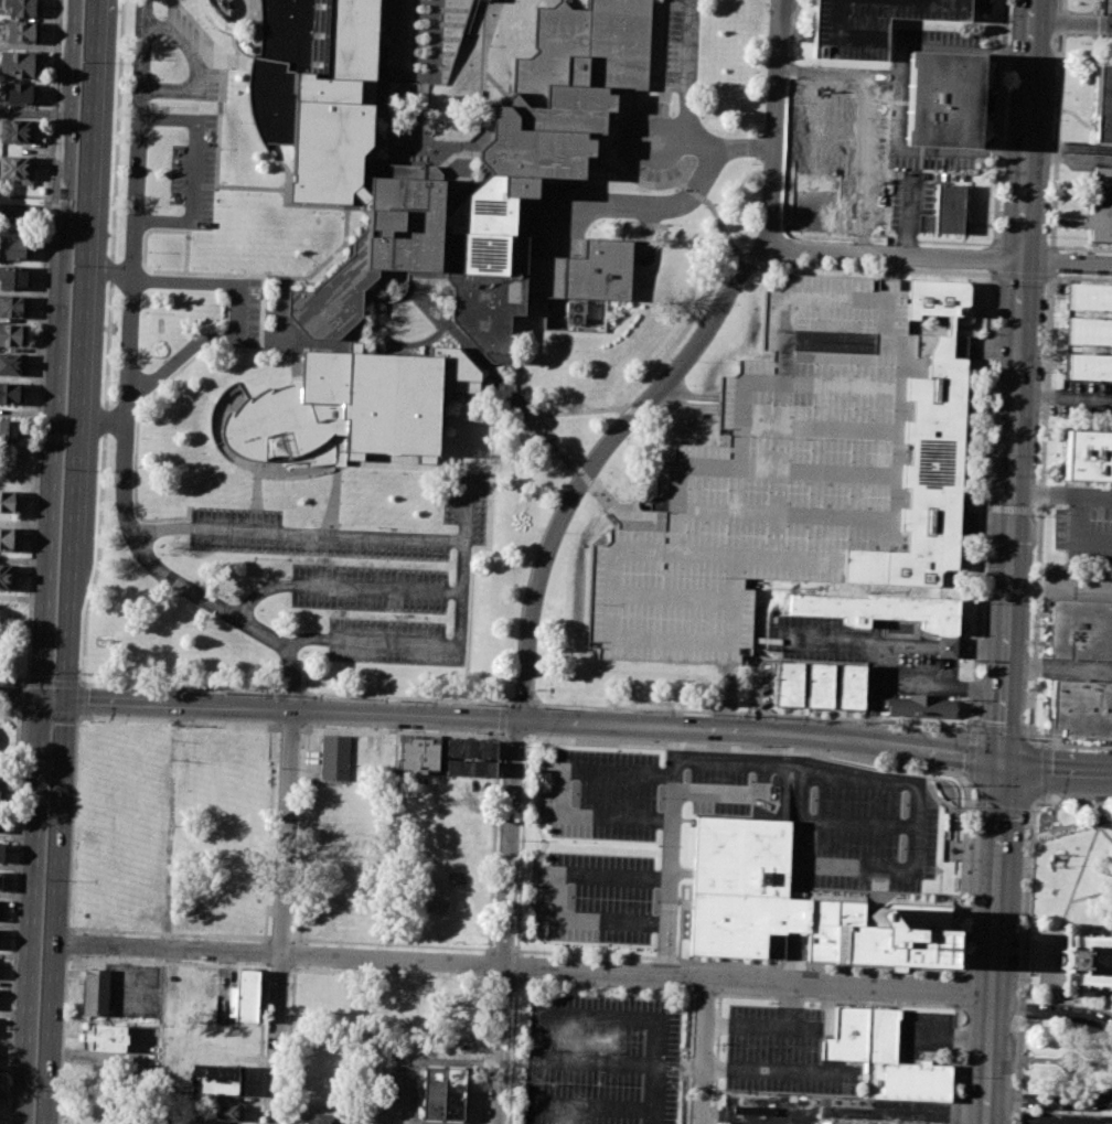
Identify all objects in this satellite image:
street lamp: (504, 0)
road: (548, 3)
road: (484, 7)
building: (24, 8)
building: (872, 23)
parking garage: (872, 23)
building: (1106, 26)
parking garage: (1106, 26)
road: (485, 28)
building: (22, 33)
building: (431, 41)
street lamp: (490, 44)
parking lot: (681, 46)
road: (949, 46)
building: (585, 47)
road: (483, 52)
parking lot: (192, 56)
street lamp: (79, 61)
building: (19, 65)
road: (197, 67)
road: (236, 67)
road: (655, 77)
road: (687, 85)
road: (654, 87)
building: (19, 94)
building: (316, 94)
road: (632, 98)
building: (940, 98)
road: (52, 100)
street lamp: (787, 101)
building: (1103, 104)
street lamp: (165, 105)
road: (481, 109)
road: (628, 113)
road: (895, 119)
road: (218, 121)
road: (777, 121)
road: (998, 121)
building: (17, 130)
building: (546, 132)
parking lot: (650, 143)
road: (1069, 146)
road: (641, 149)
road: (603, 150)
road: (1056, 153)
parking lot: (837, 158)
road: (1069, 158)
building: (838, 159)
road: (278, 163)
street lamp: (165, 168)
street lamp: (619, 168)
building: (15, 169)
road: (611, 170)
parking lot: (194, 171)
road: (197, 171)
road: (677, 183)
road: (692, 193)
road: (23, 194)
building: (1101, 204)
road: (666, 206)
building: (14, 211)
street lamp: (781, 211)
building: (945, 212)
road: (31, 213)
road: (46, 213)
parking lot: (563, 216)
road: (783, 218)
road: (720, 227)
road: (23, 231)
road: (784, 234)
road: (645, 236)
street lamp: (796, 238)
street lamp: (890, 244)
road: (776, 247)
street lamp: (981, 247)
building: (13, 248)
building: (375, 248)
road: (142, 249)
street lamp: (148, 249)
road: (891, 256)
road: (993, 257)
road: (750, 259)
road: (1050, 261)
road: (770, 263)
road: (1067, 263)
street lamp: (71, 265)
street lamp: (192, 268)
road: (875, 268)
building: (524, 269)
street lamp: (229, 270)
street lamp: (758, 270)
street lamp: (266, 271)
road: (107, 272)
road: (992, 272)
road: (1020, 276)
road: (269, 277)
building: (13, 278)
road: (1080, 278)
flagpole: (276, 282)
road: (209, 283)
street lamp: (265, 291)
road: (379, 293)
building: (1089, 297)
road: (421, 301)
building: (12, 307)
road: (385, 308)
street lamp: (145, 311)
parking lot: (243, 311)
street lamp: (264, 315)
road: (280, 315)
road: (381, 327)
building: (1088, 331)
street lamp: (263, 332)
building: (12, 335)
road: (107, 342)
road: (276, 345)
building: (959, 346)
street lamp: (263, 349)
road: (56, 350)
road: (78, 350)
street lamp: (276, 350)
street lamp: (289, 350)
street lamp: (142, 355)
street lamp: (242, 355)
road: (175, 358)
street lamp: (699, 361)
building: (12, 364)
building: (1088, 366)
road: (491, 377)
road: (135, 378)
road: (1015, 381)
road: (151, 392)
building: (11, 394)
road: (128, 395)
building: (385, 395)
road: (685, 397)
parking lot: (1087, 397)
road: (1062, 400)
road: (637, 409)
road: (683, 409)
road: (575, 411)
street lamp: (140, 419)
road: (101, 421)
building: (270, 424)
road: (492, 425)
street lamp: (523, 425)
street lamp: (489, 426)
building: (7, 431)
street lamp: (625, 441)
street lamp: (544, 448)
road: (269, 450)
road: (35, 456)
building: (927, 456)
building: (1088, 456)
road: (597, 460)
street lamp: (488, 462)
street lamp: (138, 464)
street lamp: (62, 469)
street lamp: (565, 471)
street lamp: (250, 478)
building: (770, 478)
parking garage: (770, 478)
street lamp: (341, 481)
road: (1061, 491)
street lamp: (248, 497)
road: (983, 500)
building: (8, 502)
street lamp: (340, 502)
road: (466, 504)
road: (1041, 505)
road: (986, 507)
road: (1008, 507)
road: (1035, 510)
parking lot: (1082, 518)
street lamp: (339, 523)
road: (325, 524)
street lamp: (377, 526)
road: (1080, 531)
street lamp: (566, 534)
building: (9, 538)
road: (438, 538)
street lamp: (160, 554)
street lamp: (253, 558)
parking lot: (370, 575)
building: (7, 577)
building: (948, 581)
parking lot: (1081, 584)
road: (341, 586)
road: (1058, 590)
street lamp: (224, 597)
building: (889, 613)
street lamp: (394, 615)
road: (469, 618)
building: (1080, 629)
street lamp: (539, 639)
road: (899, 646)
parking lot: (1079, 670)
road: (1056, 671)
street lamp: (53, 673)
street lamp: (87, 673)
road: (13, 678)
street lamp: (20, 682)
road: (52, 682)
road: (81, 683)
building: (788, 683)
building: (817, 685)
road: (911, 685)
building: (849, 686)
street lamp: (180, 689)
street lamp: (275, 694)
road: (308, 694)
road: (20, 696)
street lamp: (345, 697)
road: (20, 698)
traffic signals: (41, 699)
road: (52, 699)
traffic signals: (64, 700)
road: (502, 703)
street lamp: (478, 704)
street lamp: (543, 706)
building: (920, 706)
building: (1082, 708)
road: (290, 709)
road: (307, 709)
road: (18, 710)
street lamp: (637, 710)
road: (720, 710)
road: (9, 713)
road: (49, 714)
street lamp: (709, 714)
street lamp: (772, 717)
road: (501, 718)
street lamp: (15, 719)
street lamp: (89, 720)
road: (178, 721)
street lamp: (862, 721)
road: (289, 727)
street lamp: (959, 730)
road: (995, 730)
road: (400, 731)
road: (757, 732)
street lamp: (1028, 735)
road: (512, 736)
road: (1063, 745)
road: (1045, 746)
road: (747, 747)
building: (470, 749)
street lamp: (616, 749)
street lamp: (1093, 749)
street lamp: (523, 750)
road: (971, 752)
building: (417, 753)
building: (333, 757)
traffic signals: (996, 762)
building: (469, 768)
street lamp: (278, 770)
road: (835, 770)
road: (1044, 770)
road: (1052, 775)
street lamp: (749, 779)
flagpole: (930, 785)
building: (1, 789)
parking lot: (644, 790)
road: (563, 791)
street lamp: (575, 793)
street lamp: (659, 796)
flagpole: (937, 796)
street lamp: (812, 799)
road: (1077, 802)
street lamp: (1090, 802)
street lamp: (905, 803)
street lamp: (1035, 803)
flagpole: (948, 805)
road: (972, 806)
road: (1001, 810)
road: (1029, 813)
road: (1035, 813)
building: (1, 817)
road: (170, 826)
parking lot: (858, 827)
road: (300, 833)
road: (1104, 833)
road: (1022, 838)
street lamp: (570, 841)
road: (493, 842)
street lamp: (521, 842)
street lamp: (810, 843)
building: (343, 844)
street lamp: (656, 845)
street lamp: (901, 847)
building: (1, 852)
flagpole: (1060, 864)
street lamp: (296, 875)
road: (963, 877)
street lamp: (44, 879)
building: (0, 880)
road: (553, 893)
road: (1091, 895)
street lamp: (568, 896)
parking lot: (594, 897)
road: (1069, 900)
street lamp: (655, 901)
building: (0, 906)
building: (794, 906)
road: (31, 911)
road: (55, 911)
street lamp: (517, 912)
road: (15, 916)
road: (281, 917)
road: (505, 921)
road: (67, 923)
road: (1040, 931)
road: (1026, 934)
road: (1035, 935)
road: (279, 938)
road: (1023, 938)
road: (392, 943)
street lamp: (607, 943)
road: (988, 943)
road: (502, 949)
road: (295, 954)
street lamp: (74, 955)
road: (1035, 956)
road: (84, 957)
road: (1048, 959)
building: (1086, 960)
street lamp: (203, 961)
road: (488, 962)
road: (735, 962)
road: (279, 966)
road: (521, 966)
street lamp: (329, 967)
road: (1061, 968)
road: (391, 973)
street lamp: (453, 973)
road: (1038, 973)
road: (1024, 980)
road: (1033, 980)
road: (503, 981)
street lamp: (562, 984)
street lamp: (268, 985)
road: (603, 987)
street lamp: (687, 991)
road: (958, 991)
building: (95, 992)
road: (705, 992)
road: (1054, 993)
street lamp: (512, 994)
building: (244, 995)
building: (307, 997)
street lamp: (815, 997)
road: (836, 999)
road: (789, 1003)
street lamp: (942, 1003)
road: (1083, 1004)
road: (1050, 1011)
road: (594, 1016)
road: (760, 1025)
building: (881, 1035)
building: (847, 1036)
parking lot: (924, 1037)
building: (106, 1038)
road: (290, 1043)
road: (483, 1048)
building: (451, 1049)
road: (704, 1050)
road: (512, 1053)
parking lot: (784, 1053)
road: (1061, 1057)
road: (687, 1058)
parking lot: (602, 1059)
road: (1023, 1059)
road: (1047, 1060)
road: (1095, 1061)
road: (414, 1062)
road: (601, 1062)
road: (954, 1064)
road: (779, 1072)
building: (216, 1080)
building: (907, 1081)
street lamp: (34, 1090)
parking lot: (404, 1090)
building: (442, 1094)
road: (1048, 1101)
road: (594, 1107)
parking lot: (771, 1110)
building: (227, 1113)
road: (885, 1114)
road: (749, 1115)
building: (322, 1118)
parking lot: (1062, 1118)
road: (1071, 1120)
building: (835, 1123)

